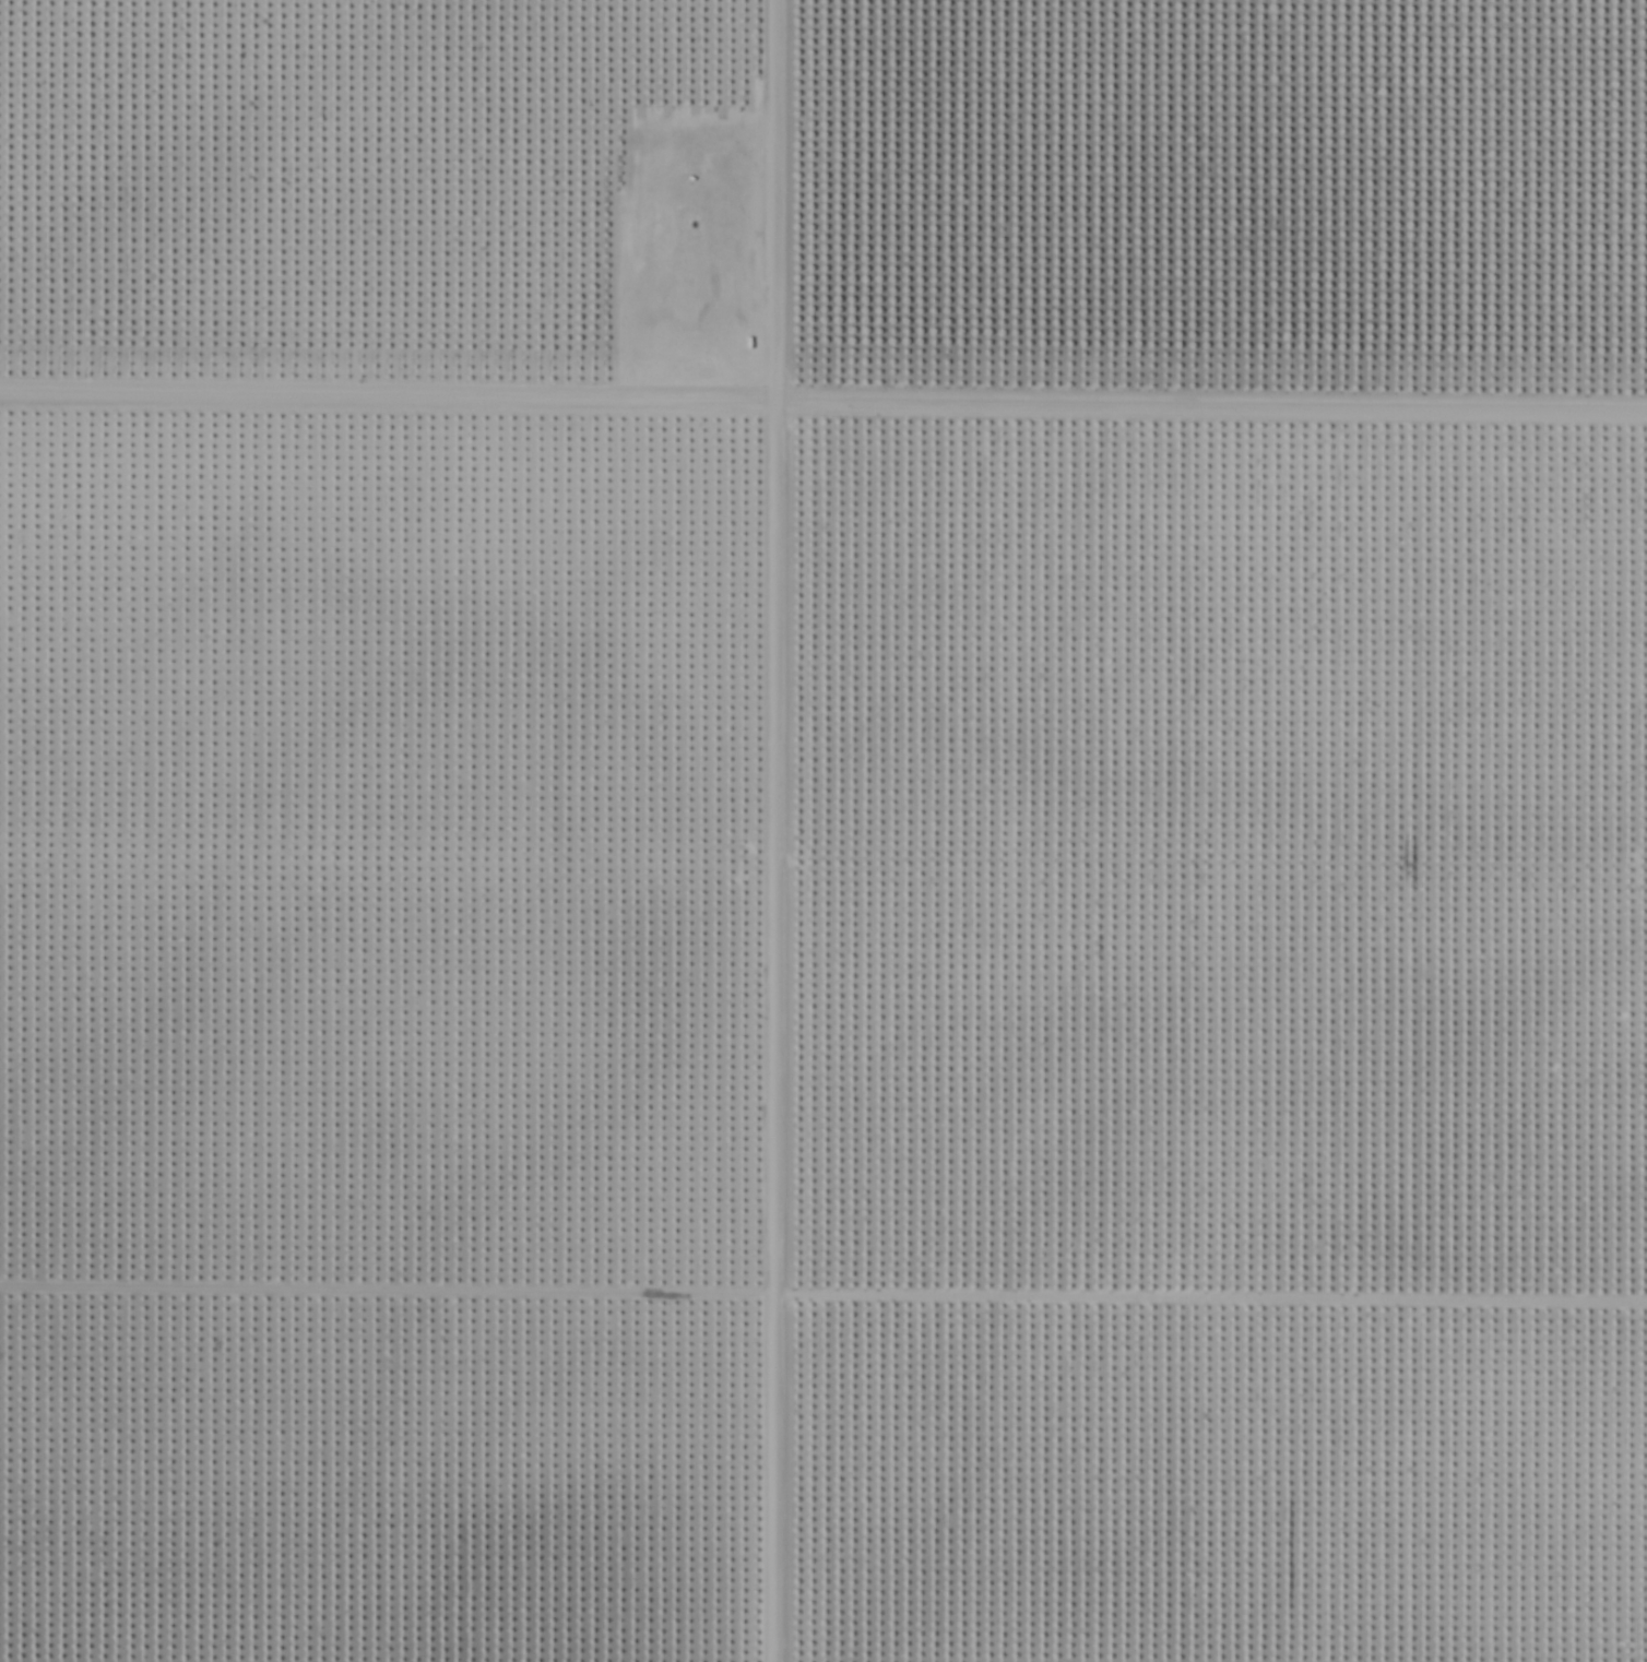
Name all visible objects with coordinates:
road: (822, 400)
road: (772, 830)
crop: (824, 831)

